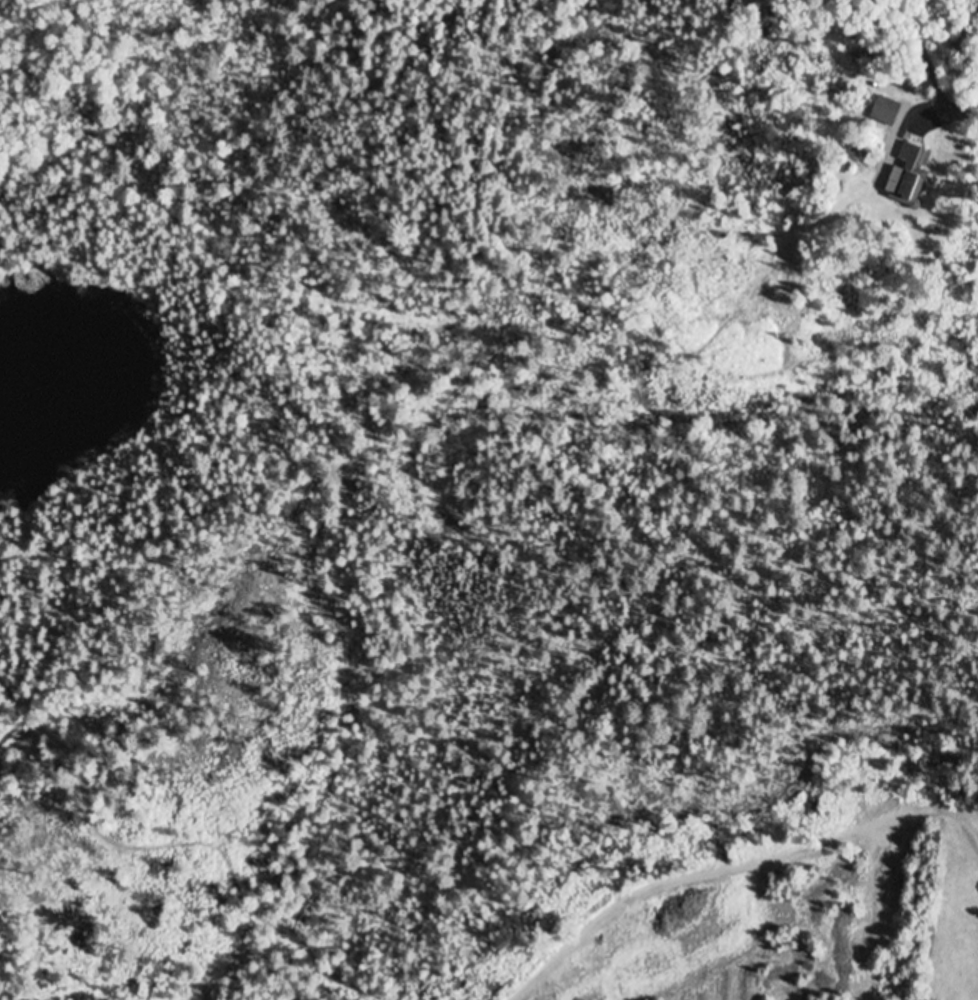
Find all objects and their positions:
building: (884, 111)
building: (861, 155)
building: (907, 177)
park: (476, 543)

